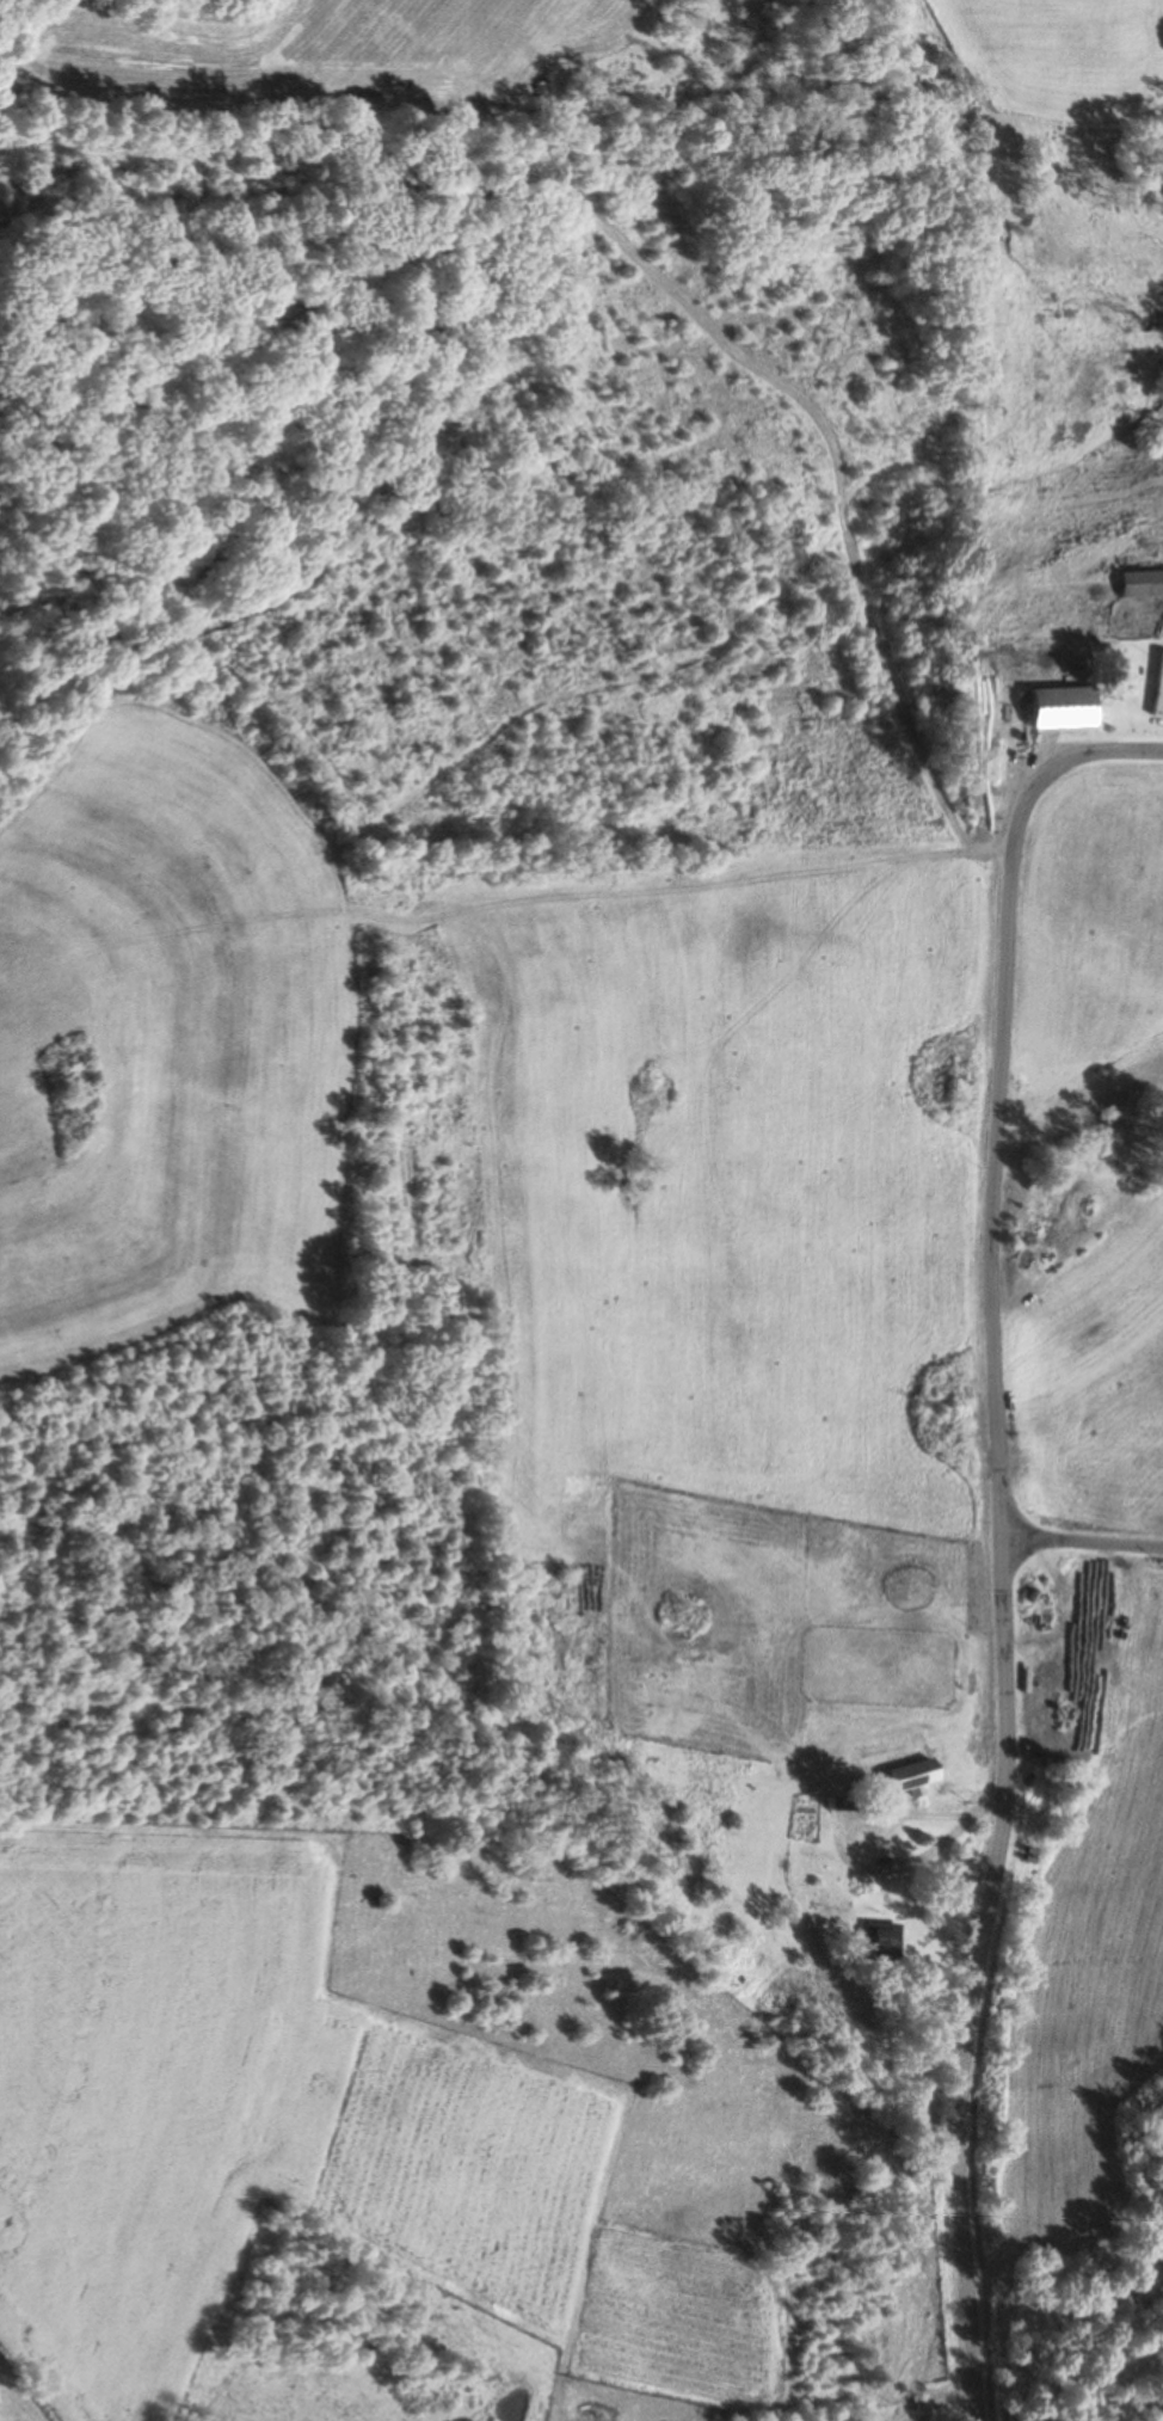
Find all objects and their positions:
building: (1142, 583)
building: (1158, 688)
building: (1063, 707)
road: (997, 1532)
road: (1081, 1543)
building: (915, 1775)
building: (879, 1941)
road: (903, 2391)

